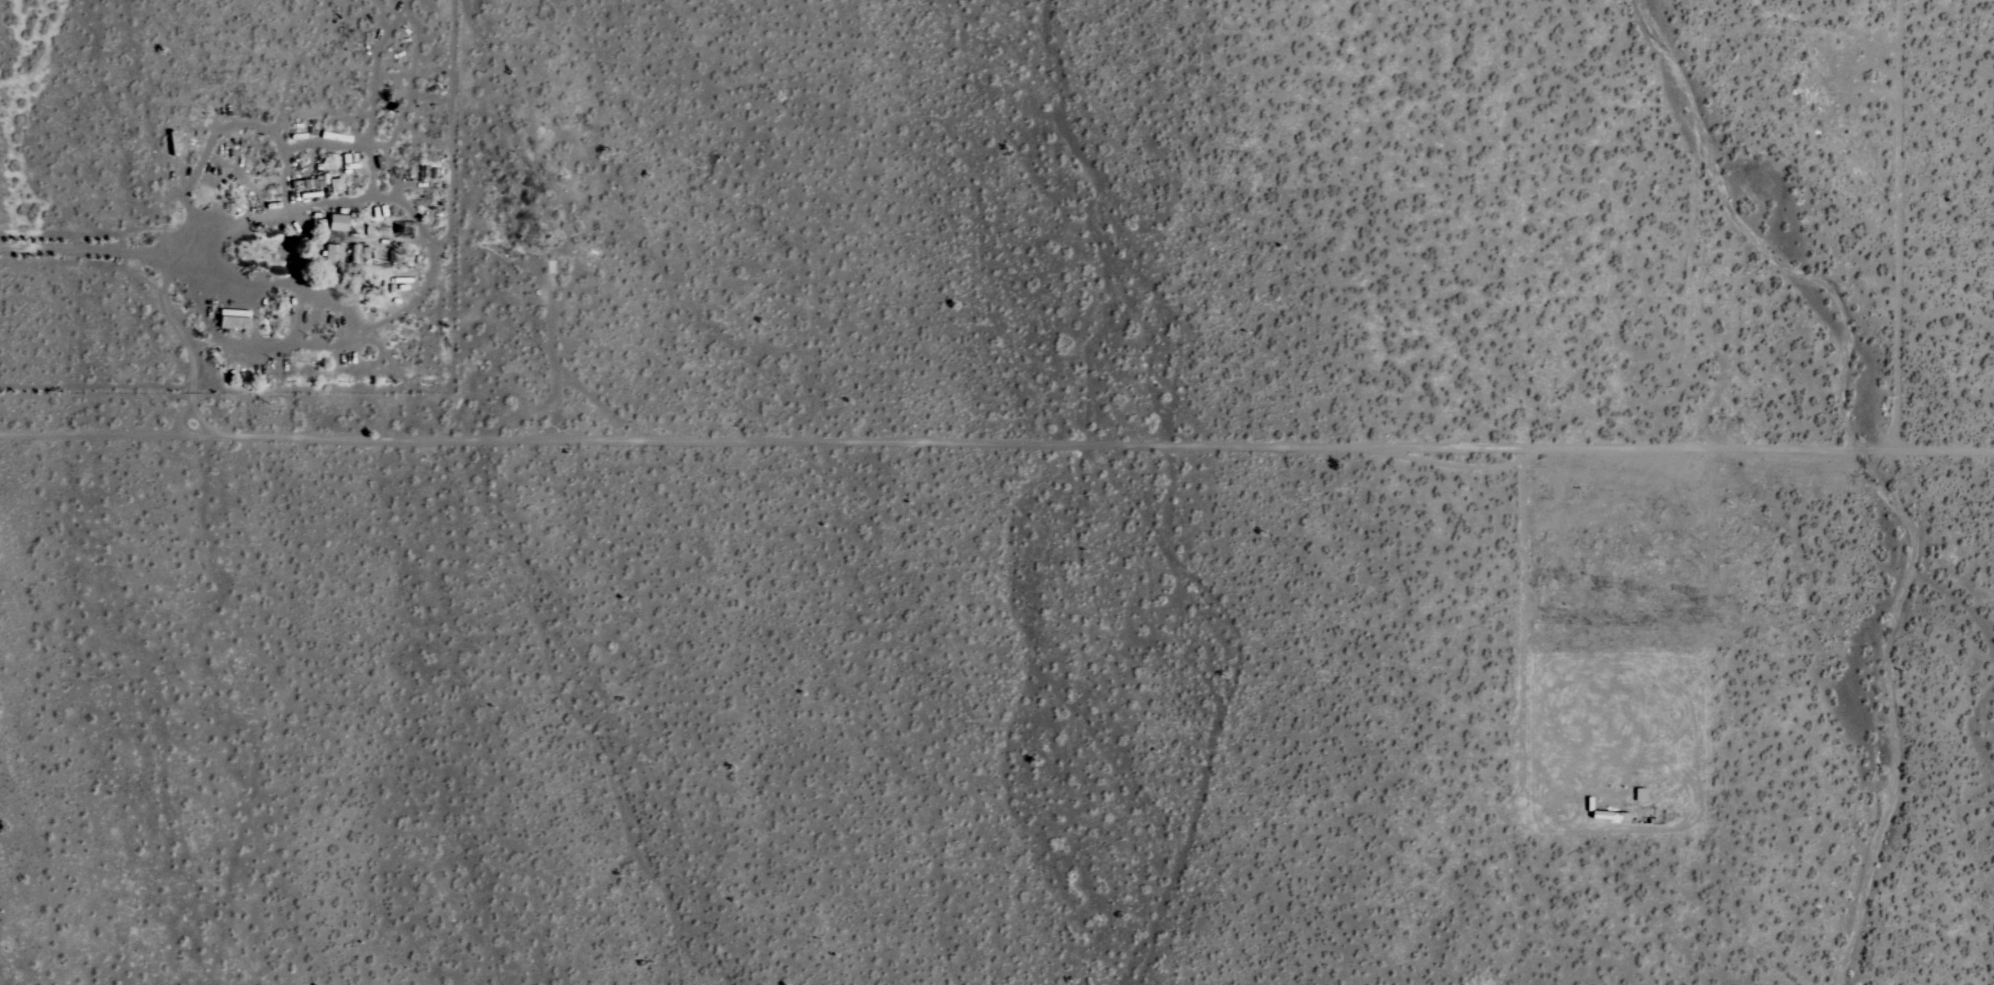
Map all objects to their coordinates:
road: (480, 217)
road: (160, 256)
road: (191, 410)
road: (996, 438)
road: (1452, 465)
road: (1520, 657)
road: (1889, 709)
road: (1506, 885)

